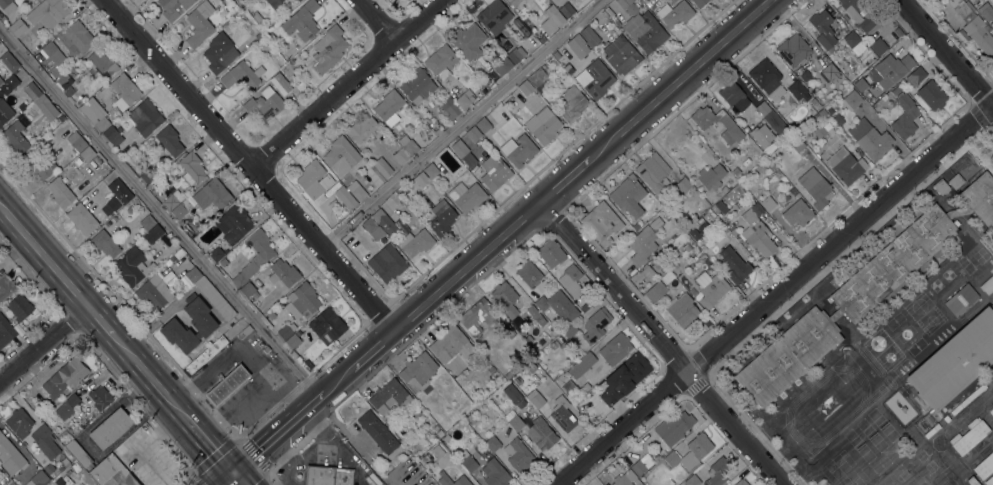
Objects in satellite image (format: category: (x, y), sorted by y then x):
building: (299, 0)
building: (403, 0)
building: (273, 2)
building: (512, 3)
building: (699, 3)
building: (7, 5)
building: (174, 8)
building: (566, 10)
building: (985, 11)
building: (48, 13)
building: (675, 13)
building: (256, 16)
building: (494, 17)
building: (3, 19)
building: (865, 19)
building: (551, 20)
building: (302, 21)
road: (374, 21)
building: (247, 22)
building: (200, 23)
building: (642, 27)
building: (974, 27)
building: (17, 28)
building: (823, 29)
building: (897, 31)
building: (258, 36)
building: (589, 36)
building: (76, 38)
building: (468, 38)
building: (541, 39)
building: (577, 42)
building: (854, 42)
building: (877, 46)
building: (329, 48)
building: (793, 49)
building: (521, 51)
building: (895, 51)
building: (53, 53)
building: (220, 53)
building: (621, 55)
building: (514, 56)
road: (943, 56)
building: (441, 61)
building: (6, 64)
building: (102, 64)
building: (292, 64)
building: (502, 65)
building: (892, 69)
building: (828, 72)
building: (288, 73)
building: (242, 75)
building: (916, 76)
building: (767, 78)
building: (595, 79)
building: (485, 80)
building: (538, 80)
building: (10, 82)
building: (280, 84)
road: (348, 84)
building: (860, 84)
building: (66, 85)
building: (300, 86)
building: (417, 86)
building: (525, 88)
road: (671, 88)
building: (895, 90)
building: (124, 91)
building: (797, 91)
building: (733, 95)
building: (931, 95)
building: (465, 99)
building: (851, 100)
building: (264, 104)
building: (572, 104)
building: (45, 107)
building: (389, 107)
building: (8, 108)
building: (448, 109)
building: (822, 113)
building: (95, 114)
building: (145, 117)
building: (905, 117)
building: (772, 118)
building: (838, 119)
road: (460, 122)
building: (482, 124)
building: (543, 125)
building: (729, 126)
building: (426, 128)
building: (361, 129)
building: (473, 133)
building: (113, 135)
building: (761, 135)
building: (15, 139)
building: (870, 139)
building: (169, 141)
building: (76, 143)
building: (796, 144)
building: (408, 145)
building: (518, 150)
building: (463, 152)
building: (87, 154)
building: (341, 156)
building: (401, 156)
building: (78, 161)
road: (251, 163)
building: (38, 165)
building: (846, 166)
building: (381, 167)
building: (191, 168)
building: (431, 170)
building: (652, 171)
building: (736, 171)
building: (494, 172)
building: (147, 175)
building: (711, 176)
building: (314, 179)
building: (421, 179)
building: (954, 182)
building: (683, 185)
building: (940, 186)
building: (815, 187)
road: (556, 189)
building: (724, 189)
building: (356, 190)
building: (404, 191)
building: (60, 193)
building: (734, 193)
building: (212, 194)
building: (124, 196)
building: (466, 196)
building: (628, 196)
building: (345, 197)
building: (786, 198)
building: (980, 198)
building: (173, 200)
building: (768, 203)
building: (181, 209)
building: (958, 212)
building: (797, 213)
road: (160, 214)
building: (81, 217)
building: (666, 217)
building: (441, 218)
building: (113, 219)
building: (699, 221)
building: (147, 222)
building: (385, 222)
building: (601, 222)
building: (234, 223)
building: (655, 224)
building: (635, 226)
building: (372, 228)
building: (692, 231)
building: (725, 231)
building: (755, 232)
building: (153, 234)
building: (416, 242)
building: (104, 243)
building: (642, 245)
building: (687, 248)
building: (178, 253)
building: (216, 253)
building: (550, 253)
building: (254, 257)
road: (42, 261)
building: (223, 262)
building: (387, 263)
building: (656, 263)
building: (893, 263)
building: (734, 265)
building: (132, 266)
road: (468, 267)
building: (283, 273)
building: (529, 273)
building: (647, 273)
building: (190, 276)
building: (570, 280)
building: (987, 286)
building: (5, 287)
building: (711, 288)
building: (249, 290)
building: (655, 291)
building: (154, 292)
road: (774, 294)
building: (215, 298)
building: (505, 298)
building: (961, 299)
building: (302, 301)
building: (544, 306)
building: (584, 306)
building: (991, 306)
building: (19, 307)
building: (682, 311)
building: (271, 315)
building: (536, 315)
building: (835, 315)
building: (477, 316)
road: (97, 323)
building: (205, 325)
building: (595, 325)
building: (327, 326)
building: (507, 329)
building: (246, 330)
building: (5, 331)
building: (286, 331)
building: (570, 331)
building: (522, 333)
building: (528, 339)
building: (292, 341)
building: (554, 344)
road: (662, 344)
road: (42, 346)
building: (453, 346)
building: (615, 348)
building: (266, 350)
road: (375, 350)
building: (206, 354)
building: (788, 356)
building: (954, 362)
building: (581, 365)
building: (531, 367)
building: (418, 368)
building: (492, 370)
building: (509, 374)
building: (65, 377)
building: (625, 377)
road: (147, 381)
road: (337, 382)
building: (226, 384)
building: (586, 386)
building: (569, 388)
building: (514, 395)
building: (100, 397)
building: (388, 398)
building: (535, 398)
building: (67, 406)
building: (991, 411)
building: (416, 413)
building: (562, 414)
building: (470, 419)
building: (515, 422)
building: (19, 423)
building: (464, 425)
building: (673, 427)
building: (110, 428)
building: (377, 432)
building: (541, 434)
road: (276, 435)
building: (969, 436)
building: (45, 442)
road: (337, 444)
building: (492, 444)
road: (210, 449)
building: (439, 450)
building: (472, 452)
building: (690, 452)
building: (78, 454)
building: (518, 454)
building: (10, 456)
building: (421, 460)
building: (646, 460)
building: (65, 462)
building: (469, 463)
building: (984, 466)
building: (75, 467)
building: (638, 467)
building: (48, 468)
building: (0, 470)
building: (718, 471)
building: (111, 473)
building: (495, 473)
traffic signals: (234, 474)
building: (328, 475)
building: (444, 478)
building: (625, 478)
building: (38, 479)
road: (227, 479)
road: (238, 479)
building: (375, 479)
building: (692, 480)
building: (58, 481)
road: (398, 481)
building: (972, 481)
building: (989, 481)
building: (5, 482)
building: (741, 482)

